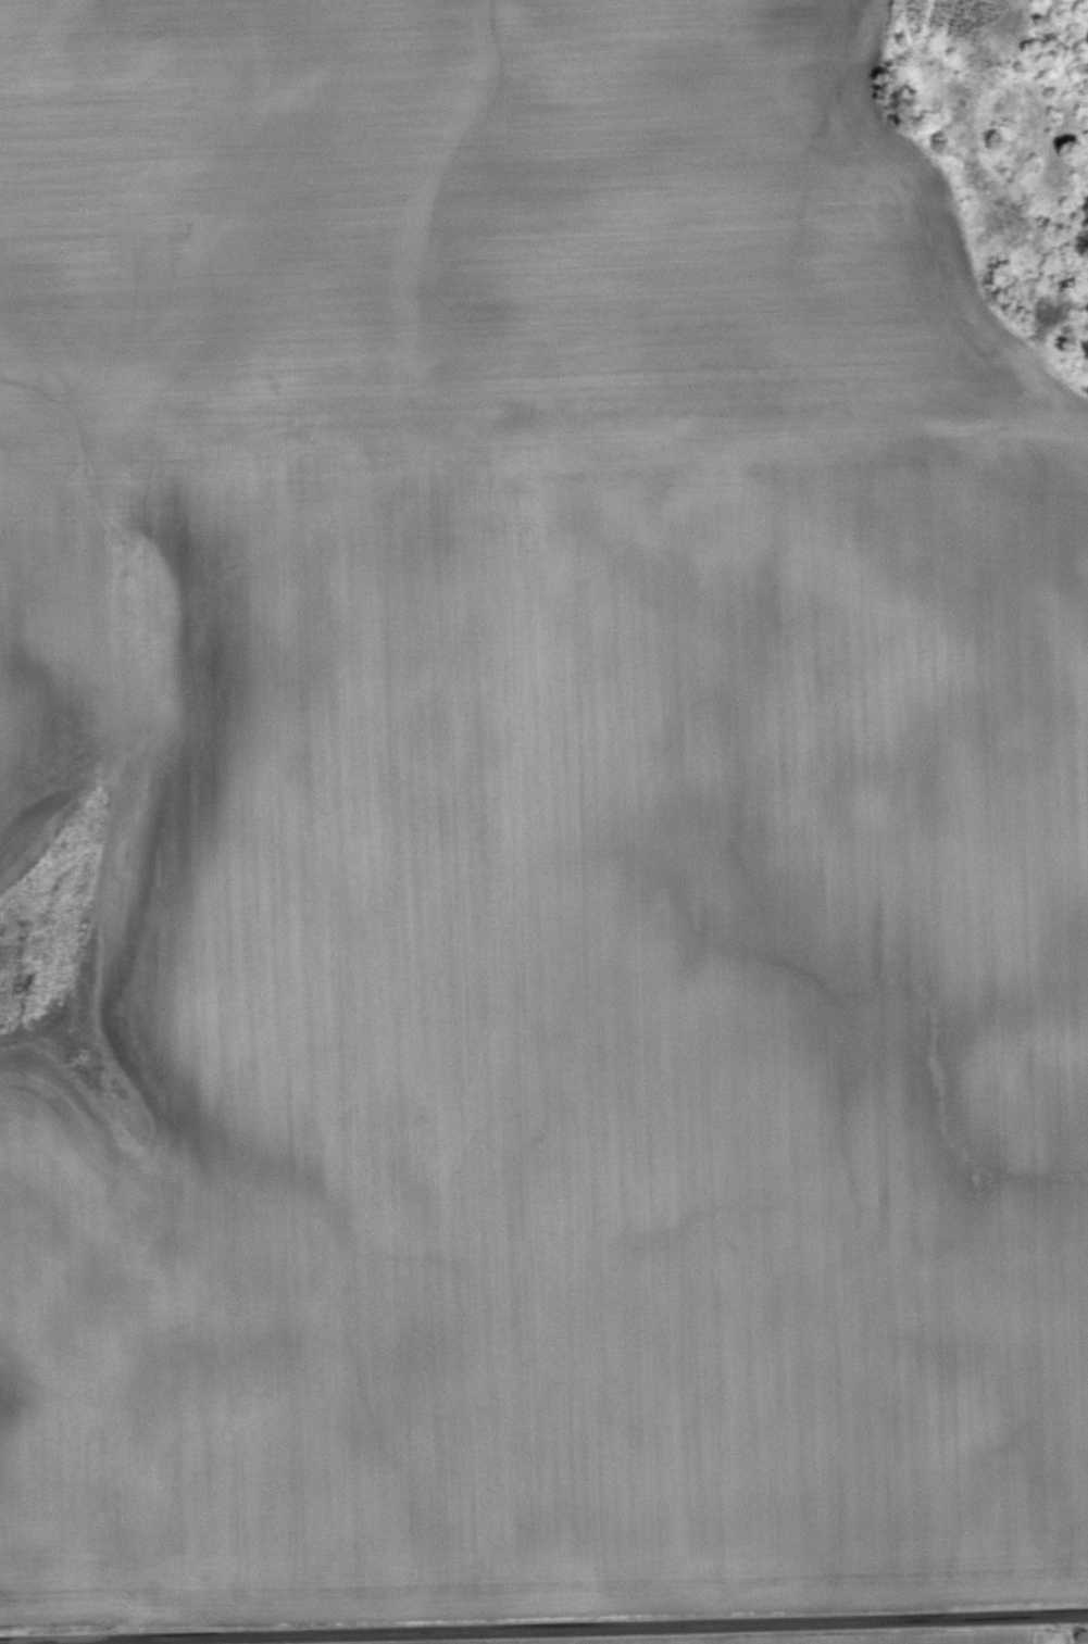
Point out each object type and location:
road: (591, 1630)

